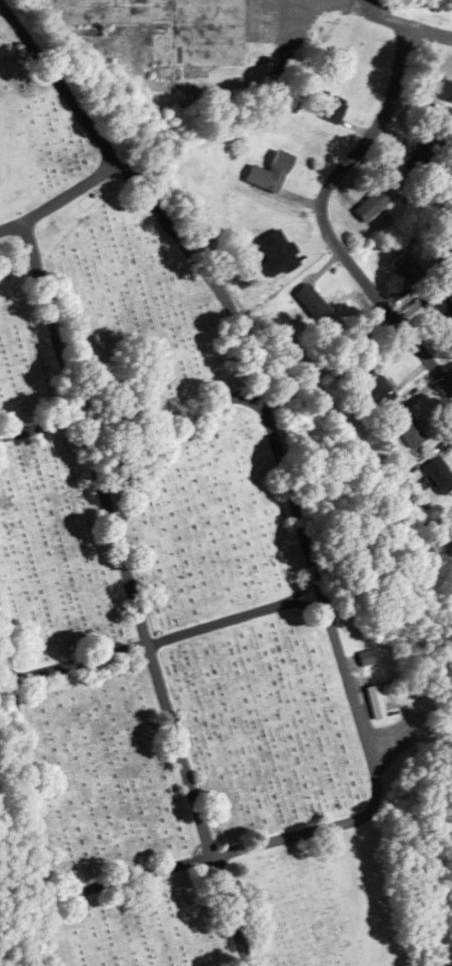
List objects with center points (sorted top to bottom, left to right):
road: (400, 16)
building: (169, 27)
building: (441, 90)
building: (331, 106)
road: (102, 137)
building: (424, 155)
building: (278, 171)
building: (372, 204)
road: (318, 211)
building: (408, 268)
building: (312, 301)
road: (248, 366)
building: (376, 383)
road: (39, 427)
building: (410, 431)
road: (173, 445)
building: (439, 474)
park: (169, 588)
road: (133, 594)
building: (381, 700)
road: (357, 708)
road: (31, 805)

